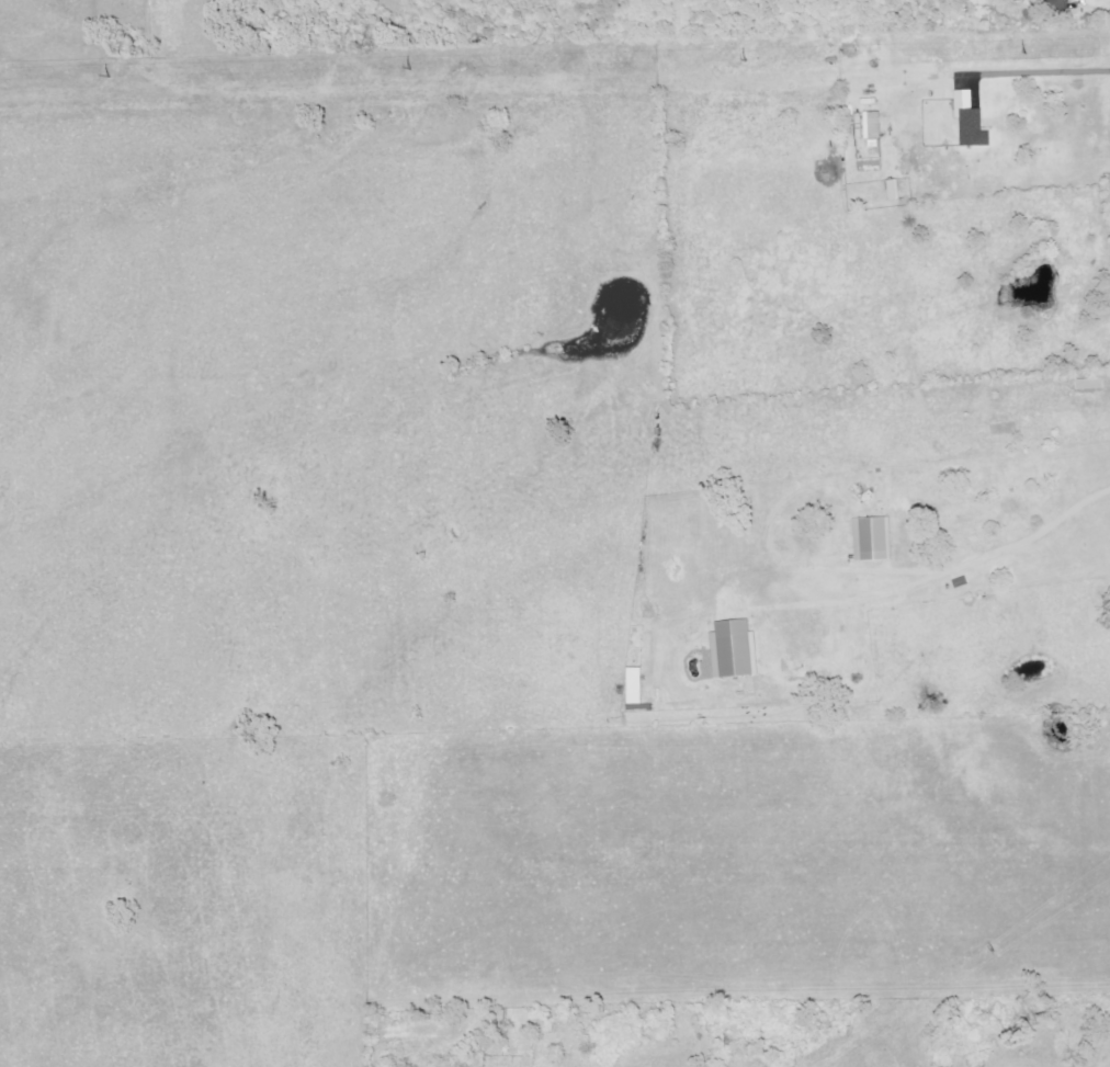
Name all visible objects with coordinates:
building: (1055, 10)
power tower: (1027, 50)
power tower: (735, 61)
power tower: (399, 68)
power tower: (99, 77)
building: (967, 121)
building: (865, 124)
building: (870, 540)
building: (730, 650)
power tower: (994, 951)

